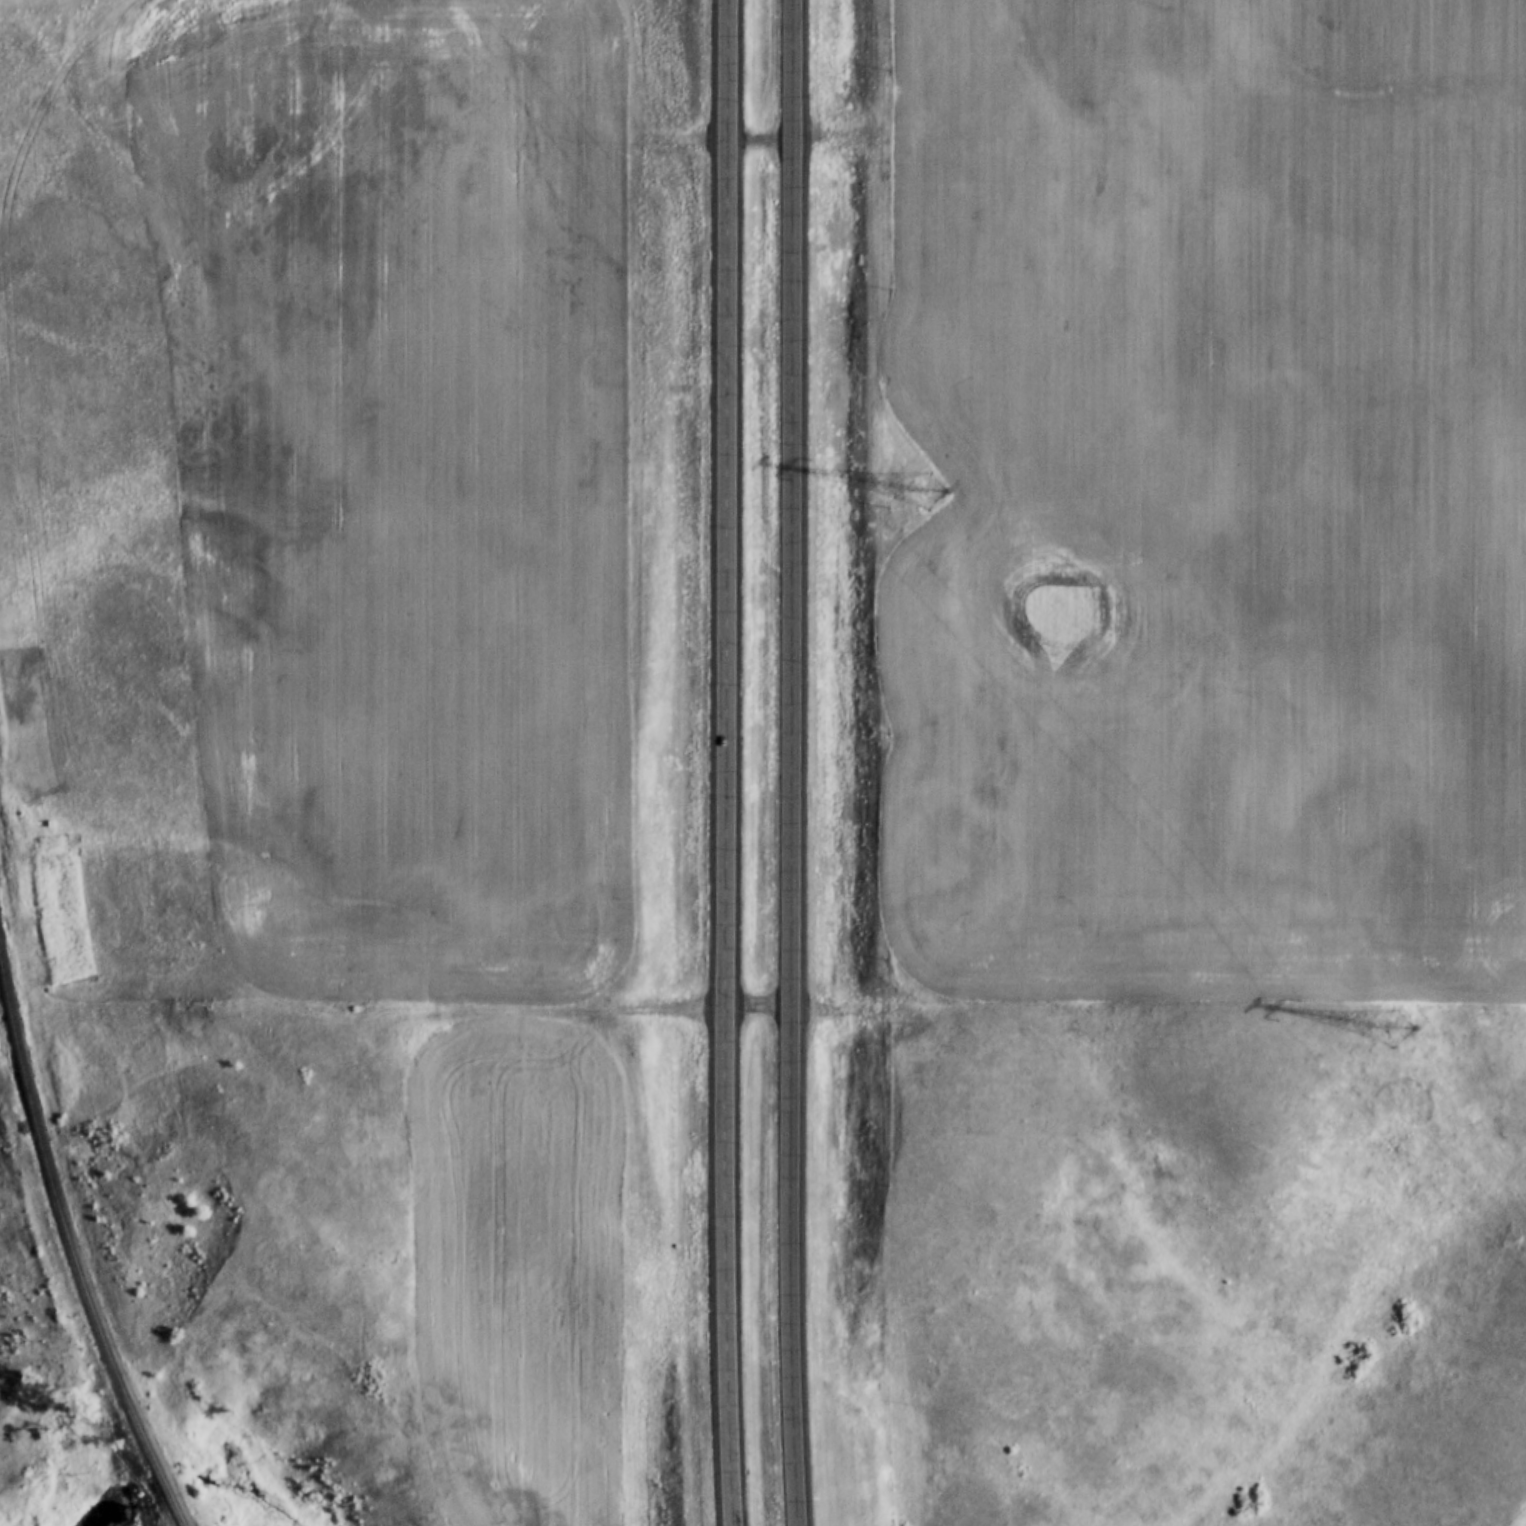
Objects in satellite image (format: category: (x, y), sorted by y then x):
power tower: (936, 489)
road: (725, 763)
road: (787, 763)
power tower: (1396, 1033)
railway: (87, 1245)

